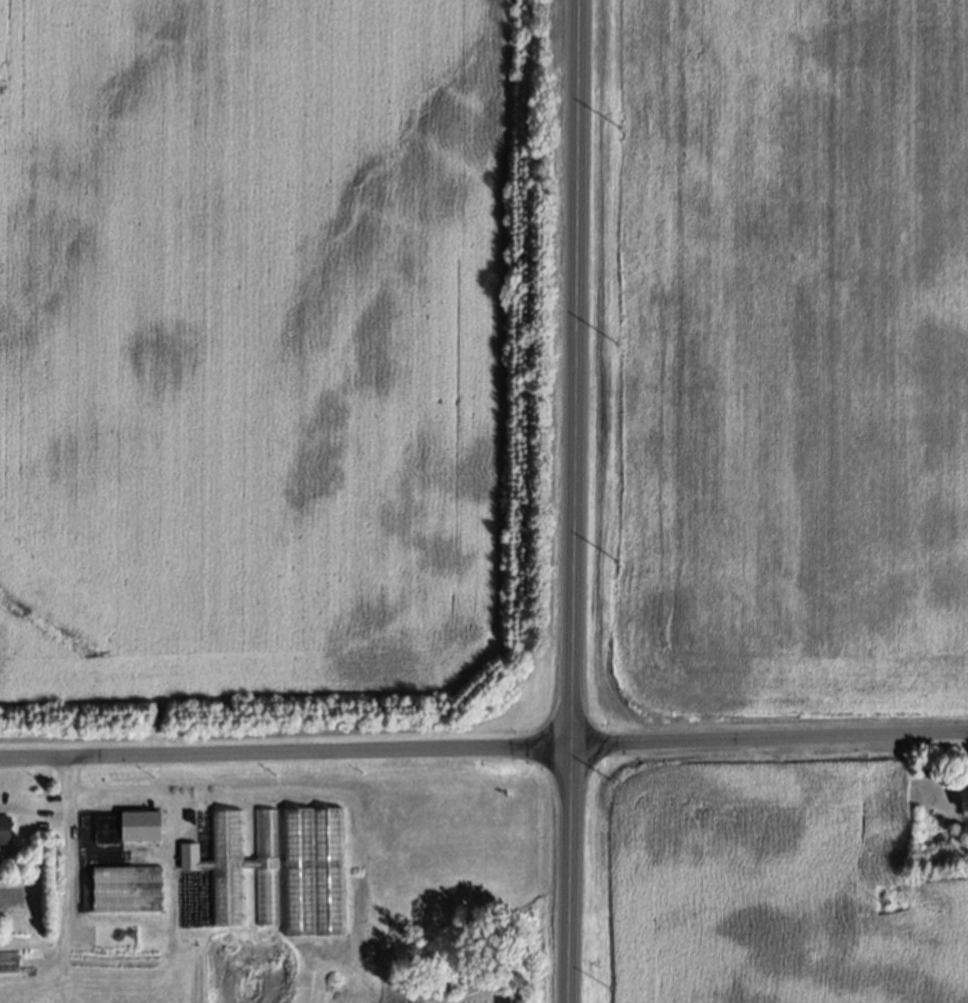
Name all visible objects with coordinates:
road: (572, 501)
road: (484, 749)
road: (122, 790)
building: (964, 802)
building: (141, 826)
building: (6, 830)
road: (65, 856)
building: (238, 866)
building: (127, 889)
building: (38, 925)
building: (10, 962)

